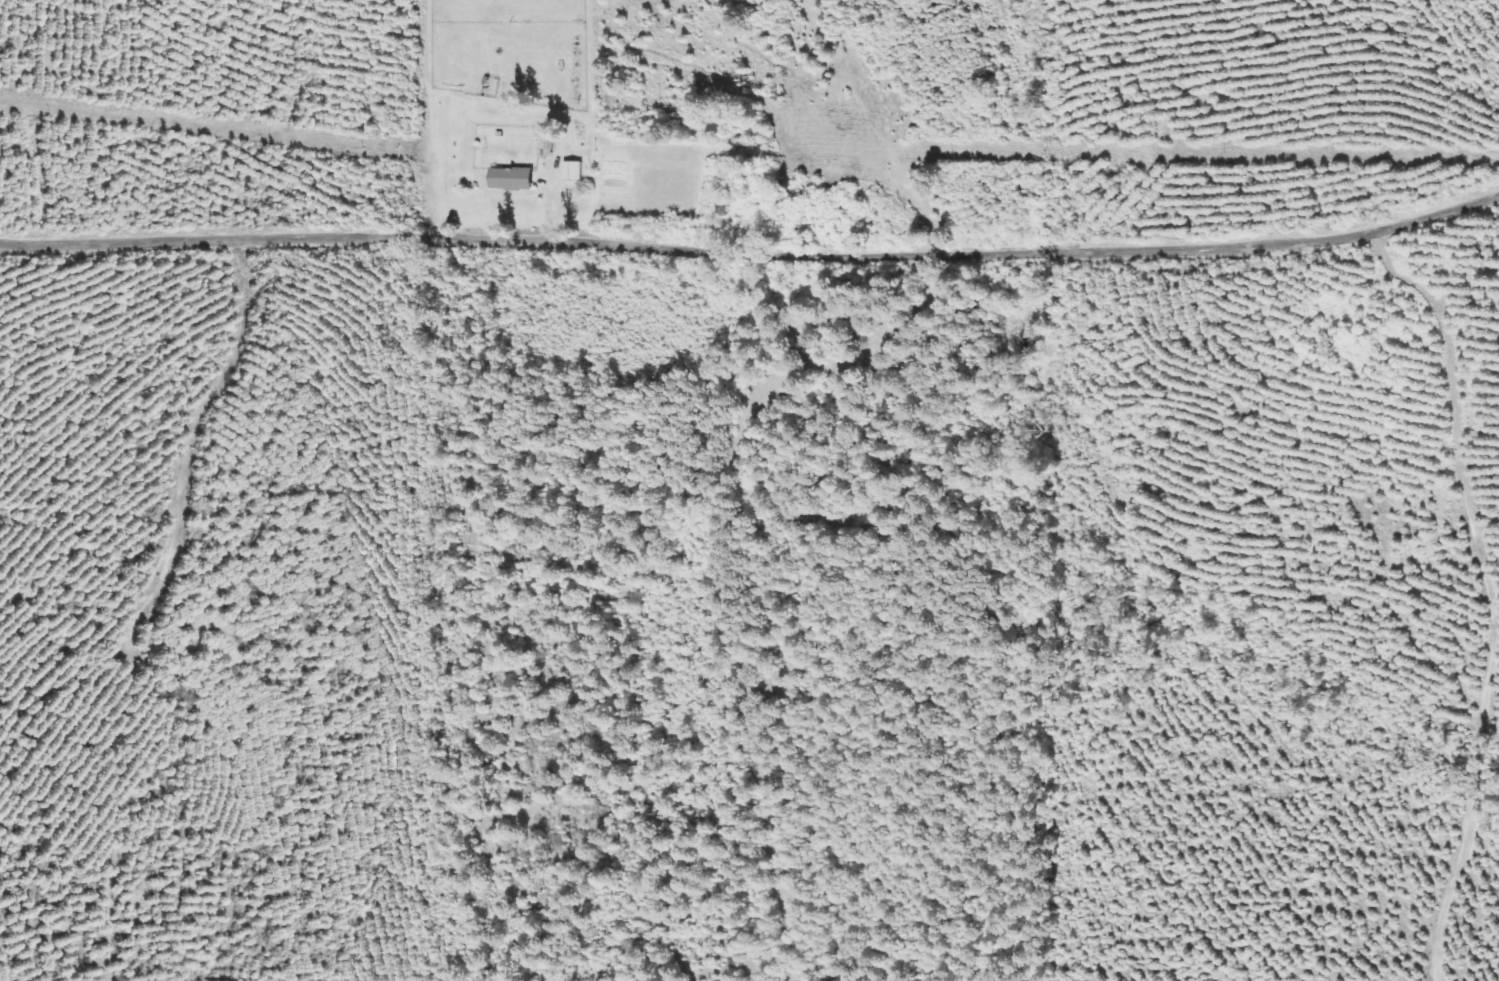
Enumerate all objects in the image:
building: (514, 180)
road: (752, 249)

